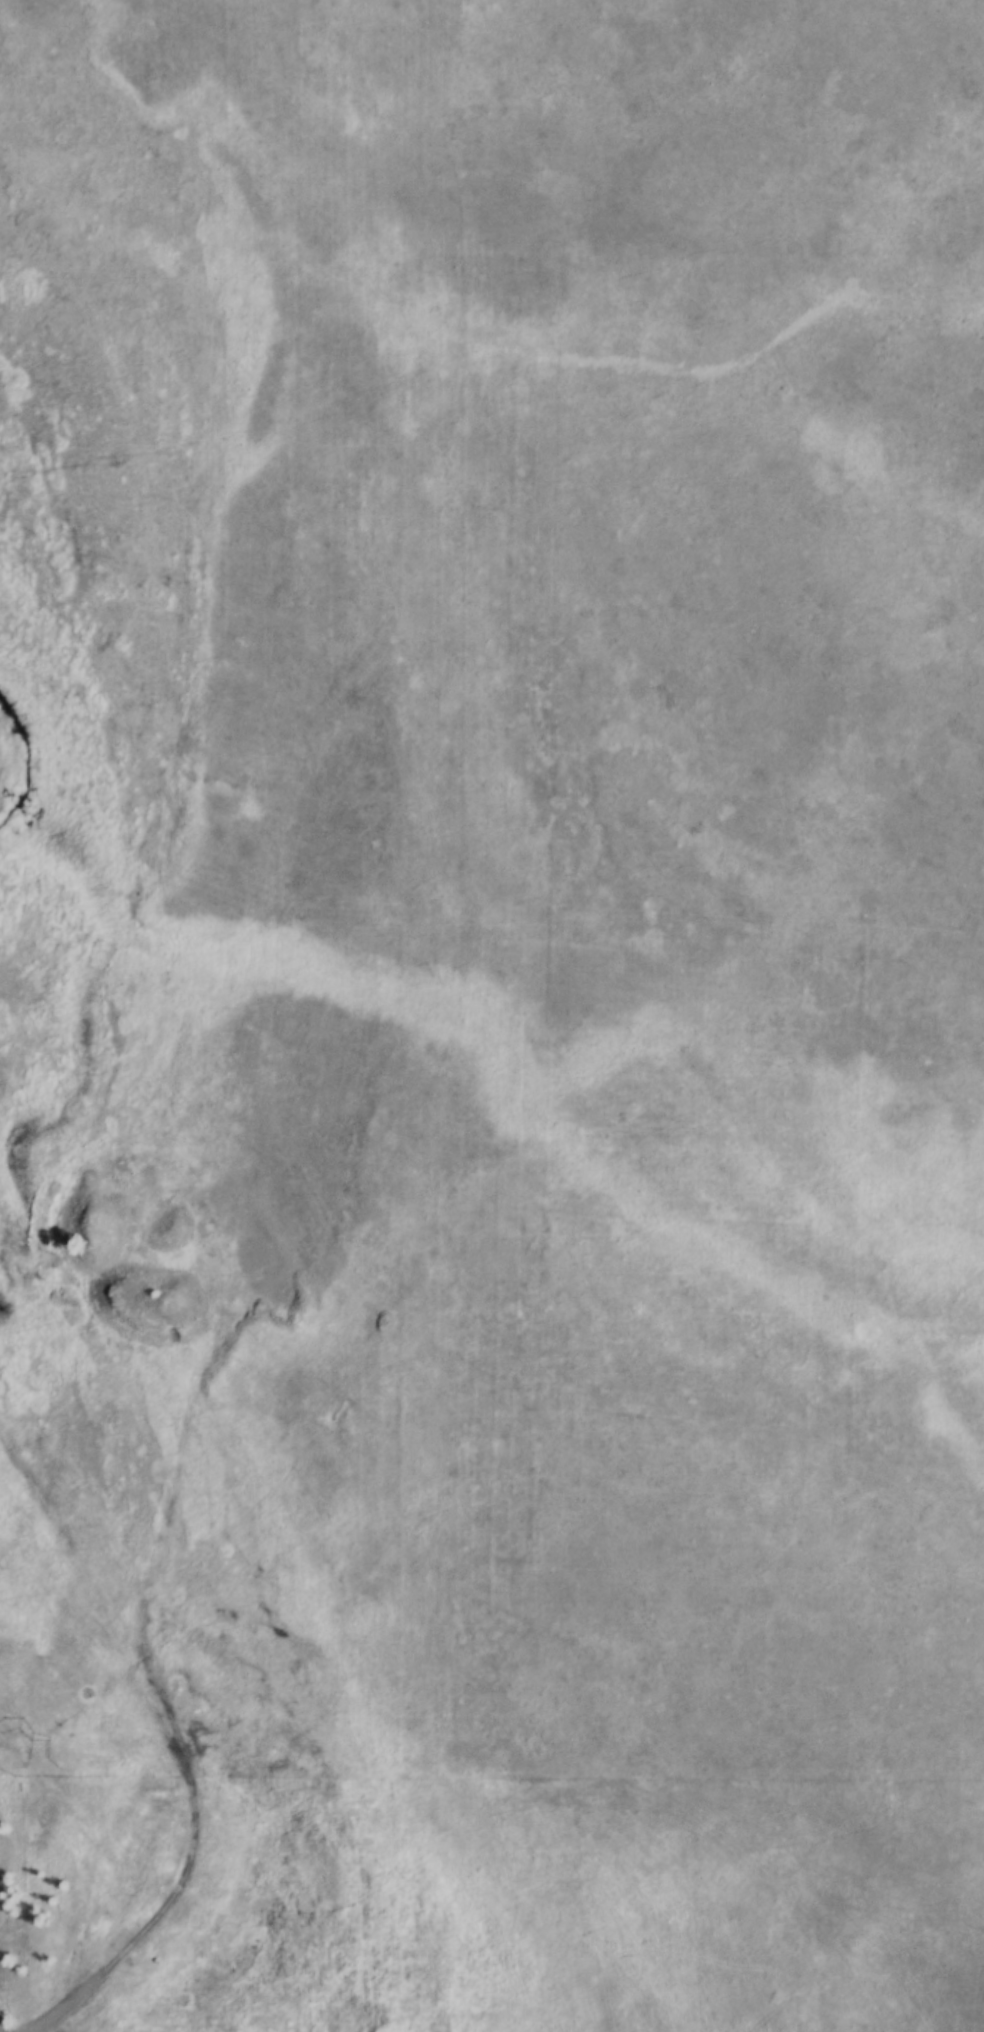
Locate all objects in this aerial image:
quarry: (165, 1255)
road: (164, 1711)

